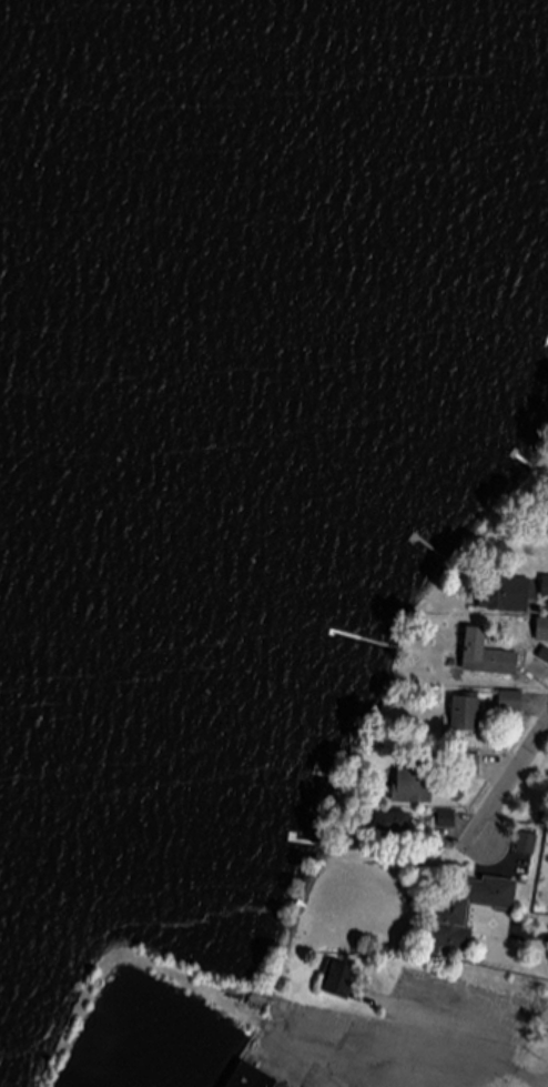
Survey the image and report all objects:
building: (546, 588)
building: (508, 596)
building: (542, 631)
building: (488, 656)
building: (545, 656)
building: (513, 703)
building: (467, 714)
building: (470, 765)
building: (418, 782)
road: (510, 782)
building: (449, 821)
building: (395, 824)
building: (528, 845)
building: (468, 914)
road: (540, 936)
building: (343, 982)
road: (427, 1047)
building: (253, 1078)

